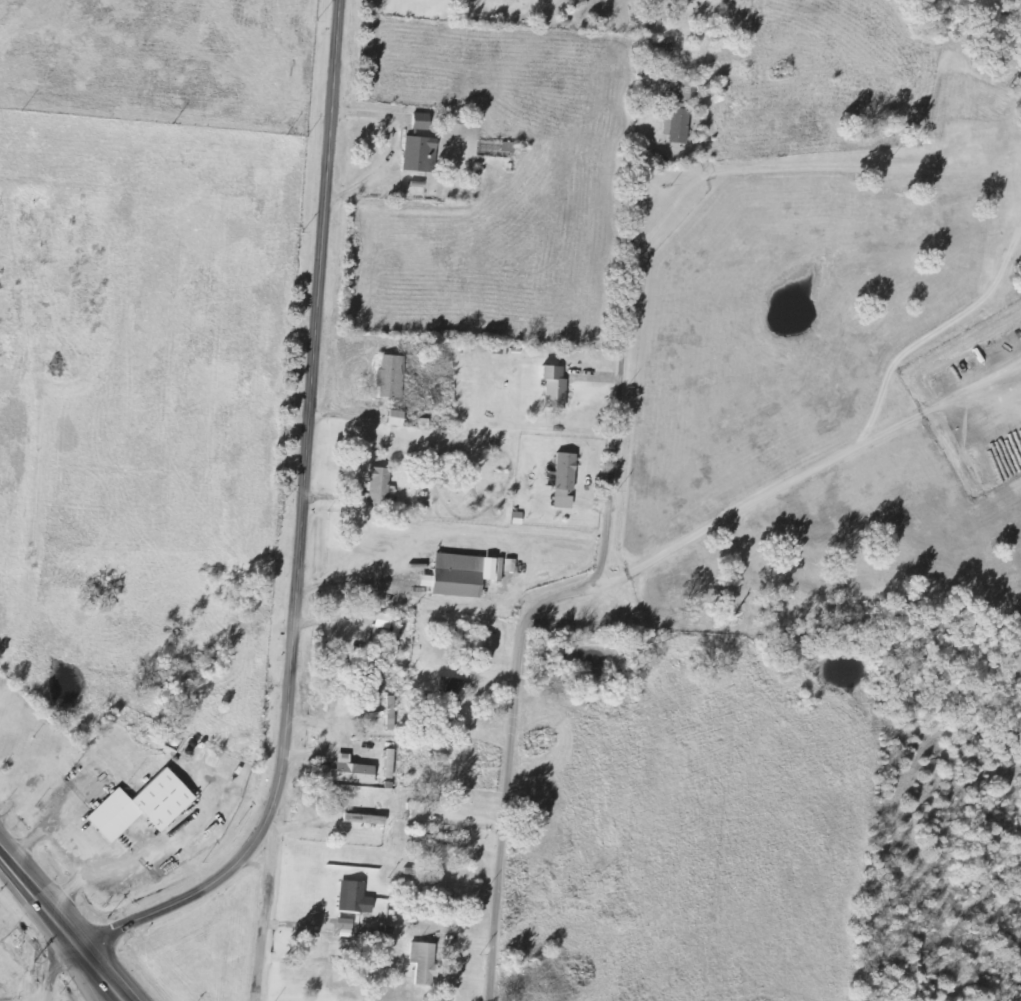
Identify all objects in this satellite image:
building: (667, 50)
building: (421, 123)
building: (675, 126)
building: (418, 153)
building: (391, 377)
building: (557, 388)
building: (397, 418)
building: (566, 480)
road: (807, 480)
building: (382, 488)
building: (519, 518)
road: (300, 528)
road: (591, 567)
building: (462, 575)
building: (384, 626)
building: (398, 632)
building: (451, 685)
building: (354, 772)
building: (141, 806)
building: (420, 810)
building: (366, 819)
building: (455, 843)
building: (355, 898)
road: (269, 908)
road: (52, 916)
building: (346, 924)
building: (424, 963)
road: (55, 971)
road: (104, 993)
road: (107, 993)
road: (108, 993)

